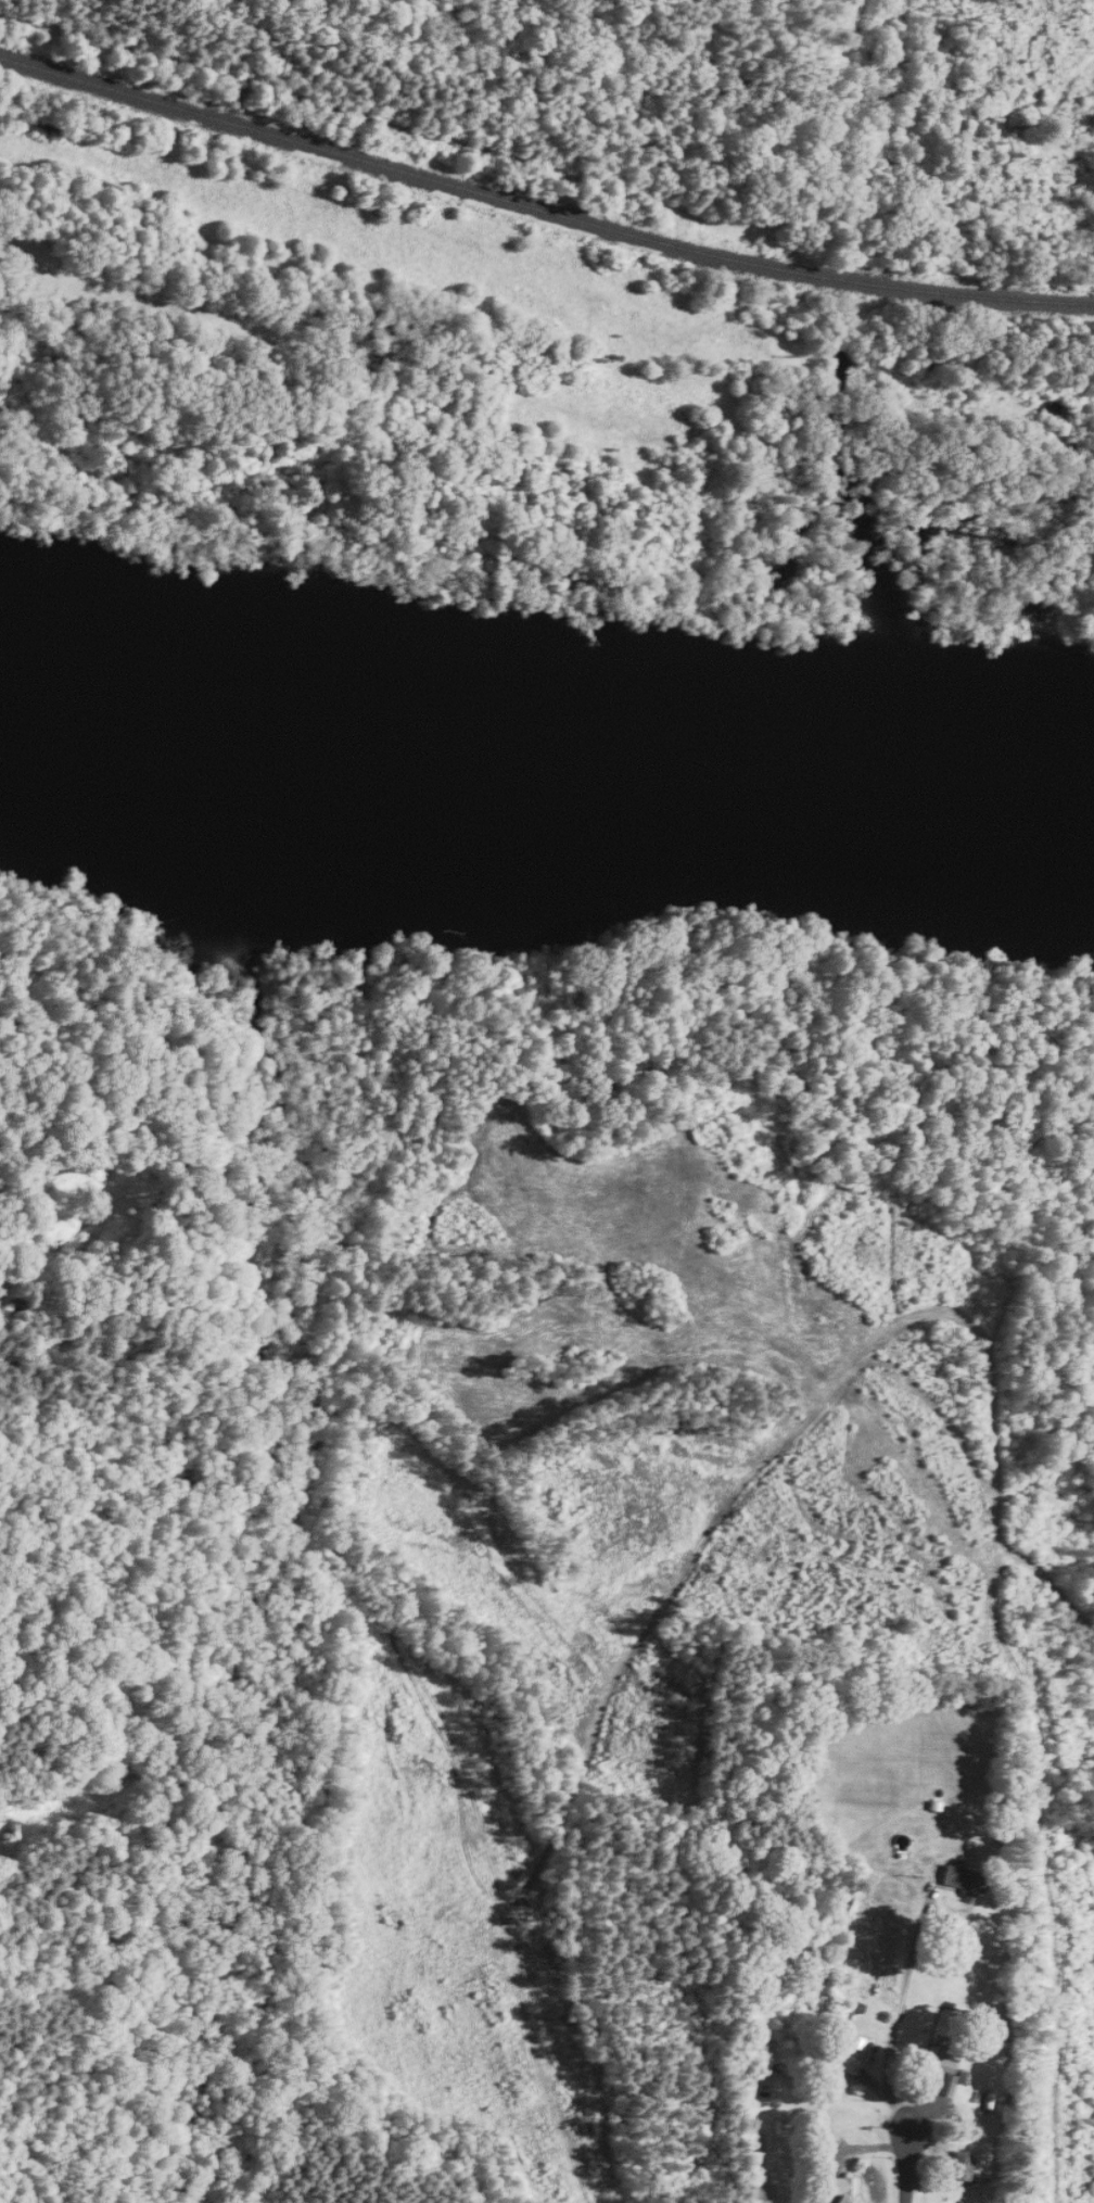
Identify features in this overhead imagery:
railway: (540, 208)
river: (543, 701)
building: (966, 1881)
road: (900, 2003)
building: (853, 2054)
building: (937, 2064)
road: (903, 2156)
building: (963, 2166)
building: (844, 2189)

